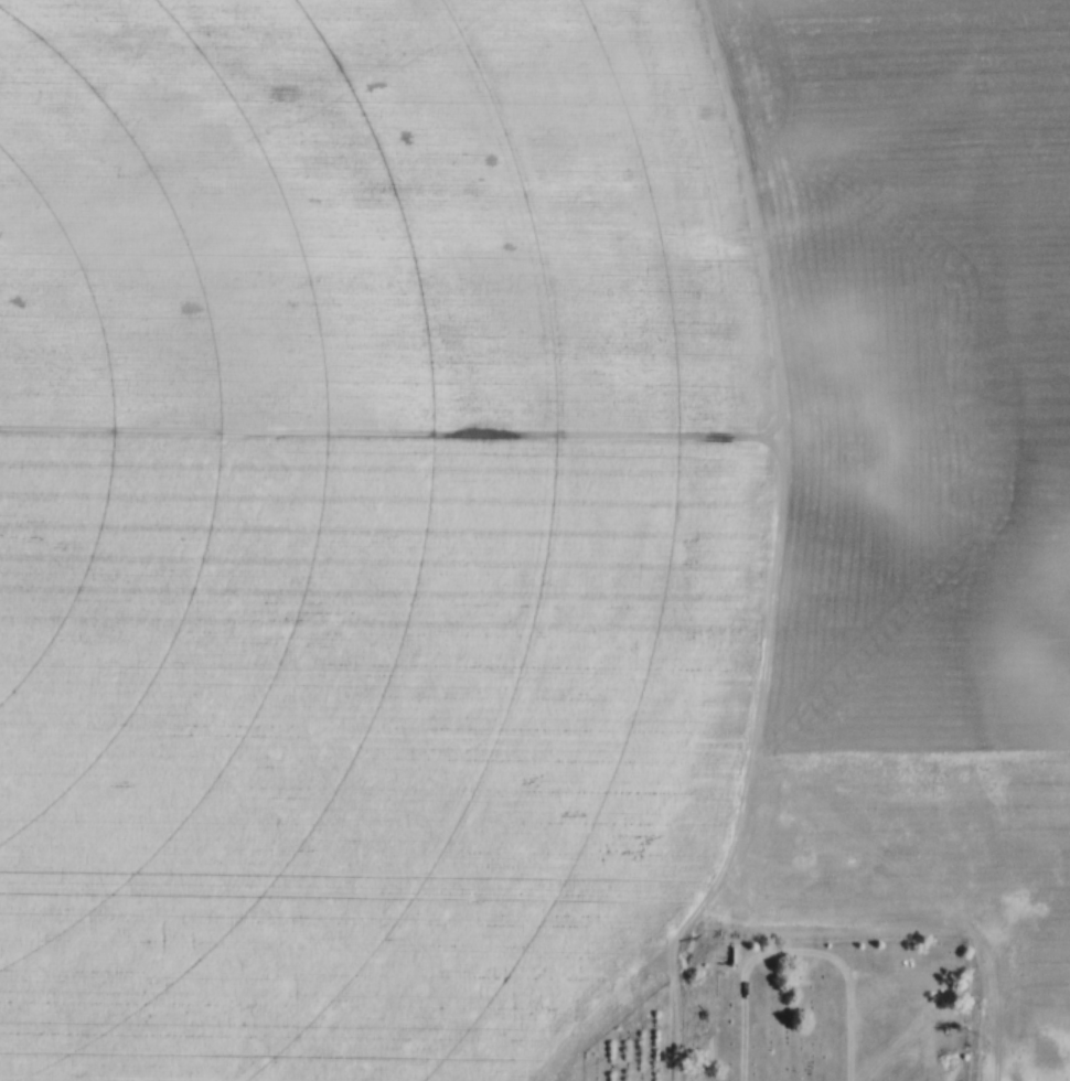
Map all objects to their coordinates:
road: (798, 951)

